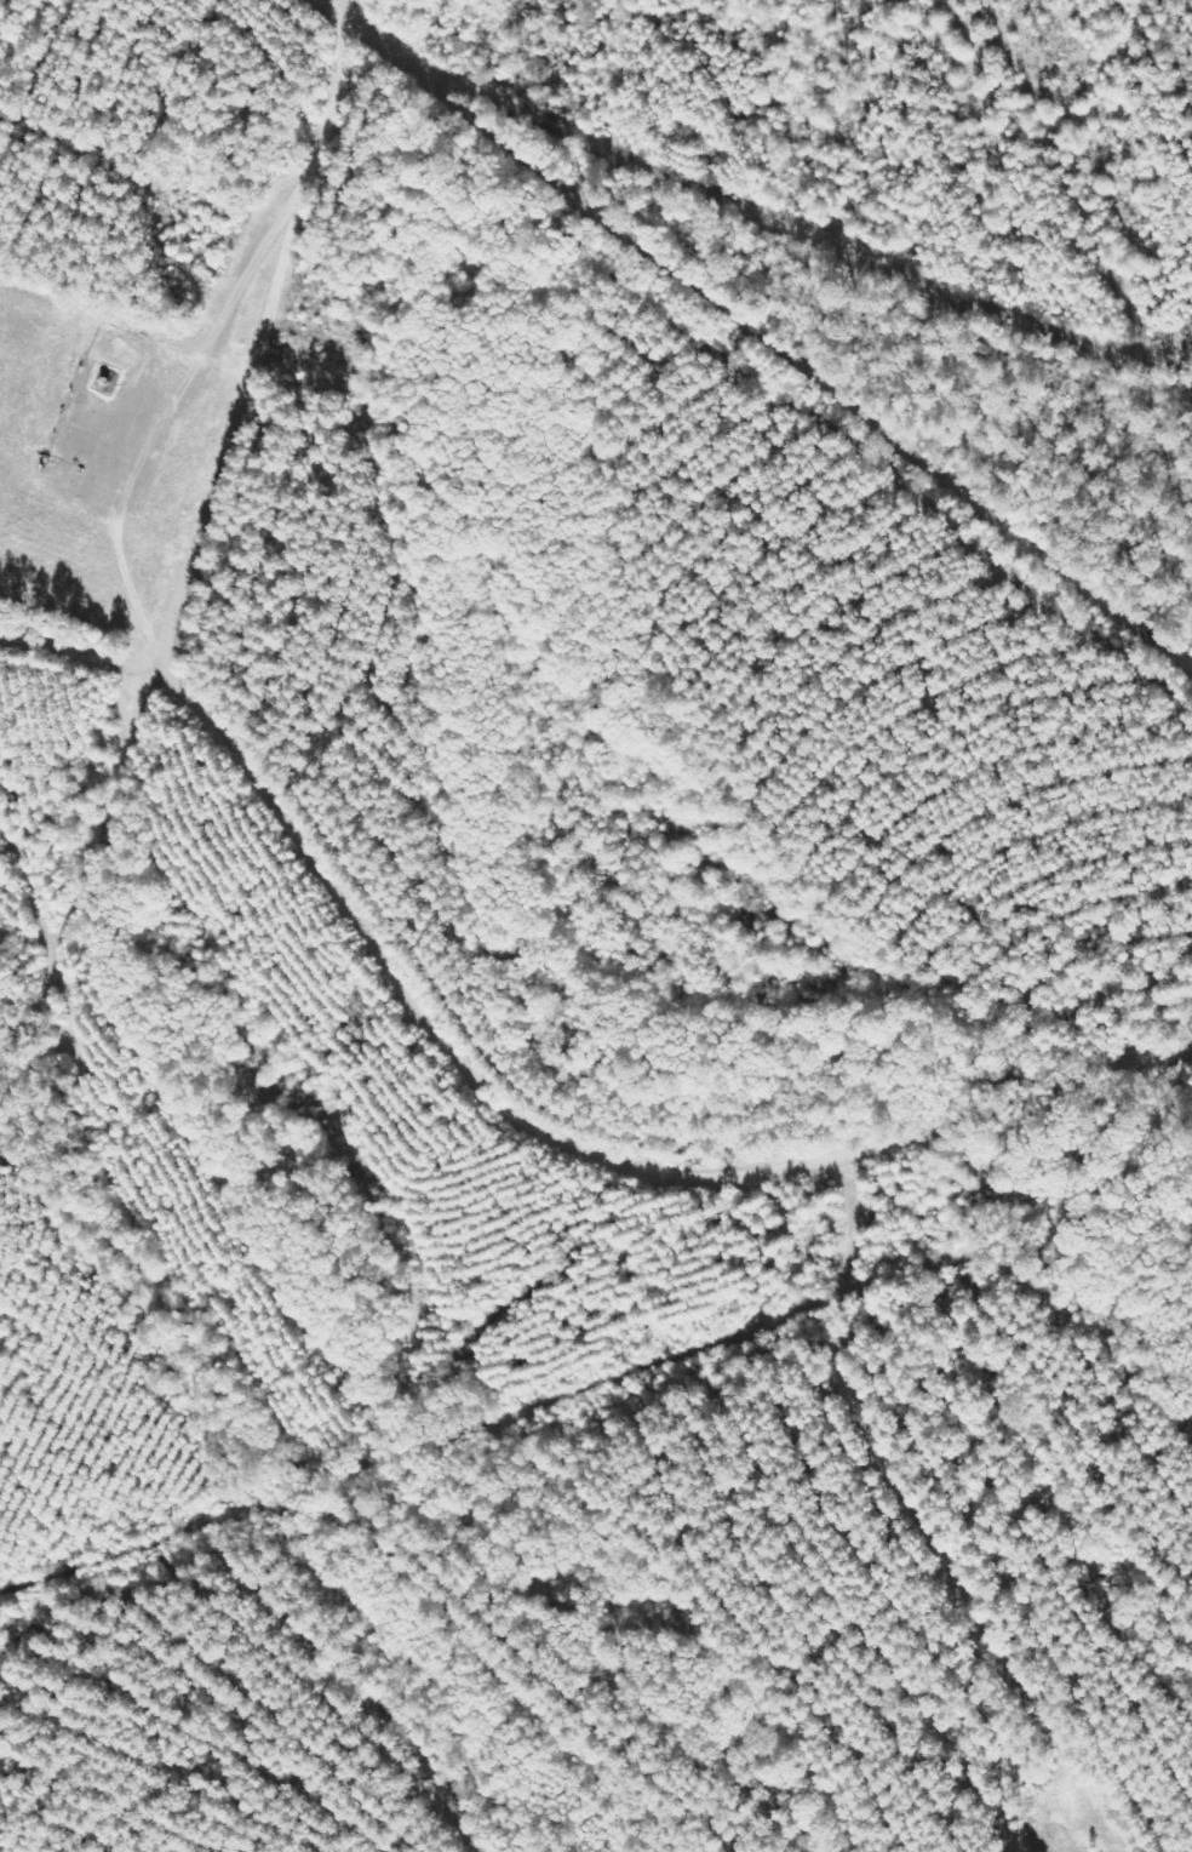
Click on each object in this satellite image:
road: (274, 304)
road: (508, 1056)

